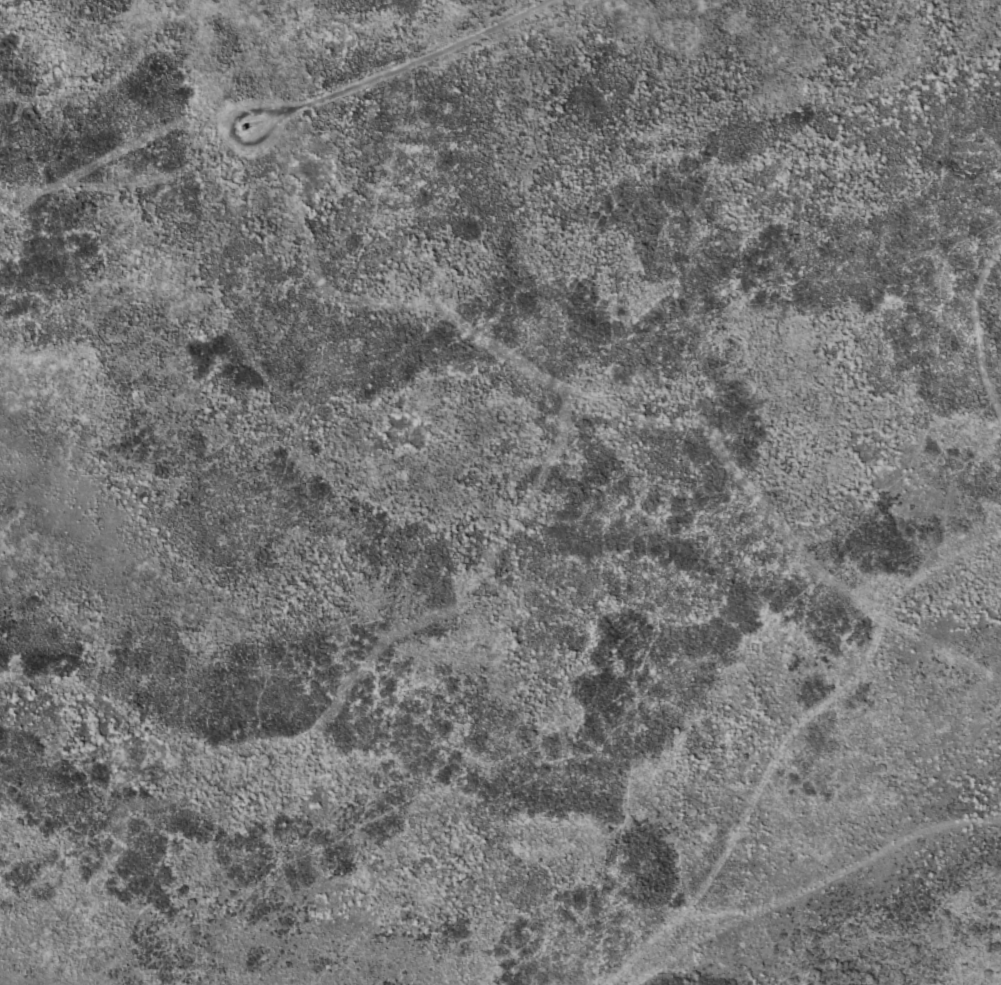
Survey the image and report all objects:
road: (277, 125)

